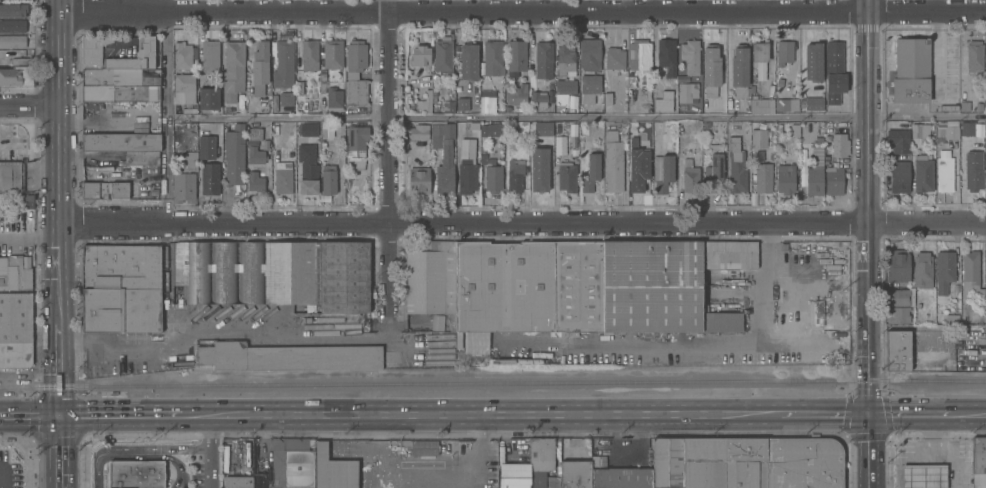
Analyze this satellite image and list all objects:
building: (0, 0)
building: (20, 0)
road: (932, 4)
building: (13, 9)
road: (520, 10)
building: (12, 25)
building: (12, 40)
building: (784, 51)
road: (932, 52)
building: (332, 53)
building: (91, 54)
building: (210, 54)
building: (309, 54)
building: (590, 54)
building: (182, 55)
building: (443, 55)
building: (640, 55)
building: (690, 55)
building: (974, 55)
building: (420, 56)
building: (492, 56)
building: (516, 56)
building: (666, 56)
building: (355, 57)
building: (565, 58)
building: (614, 58)
building: (25, 59)
building: (543, 59)
building: (758, 59)
building: (468, 61)
building: (812, 62)
building: (260, 63)
building: (283, 64)
building: (739, 70)
building: (911, 70)
building: (233, 71)
building: (711, 71)
building: (834, 72)
building: (16, 75)
building: (120, 77)
building: (322, 79)
building: (985, 79)
building: (507, 81)
building: (185, 86)
building: (299, 87)
building: (590, 88)
building: (564, 89)
building: (356, 91)
building: (687, 91)
building: (119, 93)
building: (517, 95)
building: (209, 97)
building: (286, 98)
building: (537, 98)
building: (607, 98)
building: (334, 99)
building: (427, 100)
building: (813, 103)
building: (462, 104)
building: (488, 104)
building: (663, 104)
building: (786, 104)
road: (28, 105)
building: (264, 105)
building: (759, 105)
building: (449, 106)
building: (964, 106)
building: (507, 108)
building: (948, 108)
road: (166, 113)
road: (576, 118)
building: (985, 124)
building: (138, 125)
building: (719, 126)
building: (307, 129)
building: (326, 129)
building: (490, 129)
building: (542, 129)
building: (966, 129)
building: (794, 130)
building: (919, 130)
building: (951, 130)
building: (418, 131)
building: (255, 133)
building: (758, 138)
building: (819, 140)
building: (898, 140)
building: (216, 141)
building: (322, 144)
building: (837, 144)
building: (126, 145)
building: (558, 145)
building: (356, 146)
building: (205, 147)
building: (573, 149)
building: (234, 154)
building: (255, 155)
building: (443, 156)
building: (97, 157)
building: (190, 160)
road: (57, 161)
building: (121, 161)
building: (307, 162)
building: (613, 163)
building: (942, 164)
road: (384, 165)
building: (637, 166)
building: (737, 167)
building: (538, 169)
building: (467, 172)
building: (591, 172)
building: (663, 172)
building: (714, 172)
building: (923, 172)
building: (972, 172)
building: (89, 173)
building: (491, 173)
building: (515, 175)
building: (11, 176)
building: (348, 176)
building: (567, 176)
building: (815, 176)
building: (899, 176)
building: (690, 177)
building: (763, 177)
building: (210, 178)
building: (283, 178)
building: (786, 178)
building: (328, 179)
building: (255, 180)
building: (419, 180)
building: (833, 181)
building: (347, 183)
building: (183, 186)
building: (105, 189)
building: (154, 190)
building: (26, 197)
building: (1, 200)
building: (24, 216)
road: (522, 225)
road: (865, 244)
building: (783, 246)
building: (728, 255)
building: (898, 265)
building: (124, 267)
building: (922, 270)
building: (944, 270)
building: (15, 271)
building: (248, 271)
building: (344, 276)
building: (971, 278)
building: (431, 279)
building: (578, 285)
building: (651, 285)
building: (502, 290)
building: (899, 297)
building: (121, 311)
building: (898, 314)
building: (985, 316)
building: (15, 318)
building: (952, 318)
building: (720, 322)
building: (838, 324)
road: (925, 329)
road: (387, 335)
road: (223, 337)
building: (459, 340)
road: (714, 343)
road: (413, 346)
road: (59, 348)
building: (897, 350)
building: (15, 355)
building: (287, 356)
building: (459, 358)
road: (30, 380)
road: (60, 380)
railway: (492, 382)
road: (60, 400)
road: (967, 414)
road: (30, 415)
traffic signals: (60, 415)
road: (120, 415)
road: (194, 415)
road: (493, 415)
road: (821, 415)
traffic signals: (865, 415)
road: (907, 415)
building: (417, 443)
road: (136, 448)
building: (336, 450)
road: (60, 451)
road: (210, 451)
road: (942, 451)
building: (424, 452)
building: (541, 453)
road: (383, 454)
road: (479, 454)
building: (292, 462)
building: (667, 462)
building: (703, 462)
building: (745, 462)
building: (803, 462)
building: (979, 462)
building: (333, 469)
parking lot: (9, 472)
building: (135, 474)
building: (575, 474)
building: (514, 475)
building: (619, 475)
road: (2, 476)
building: (929, 476)
building: (538, 479)
building: (237, 481)
building: (553, 482)

